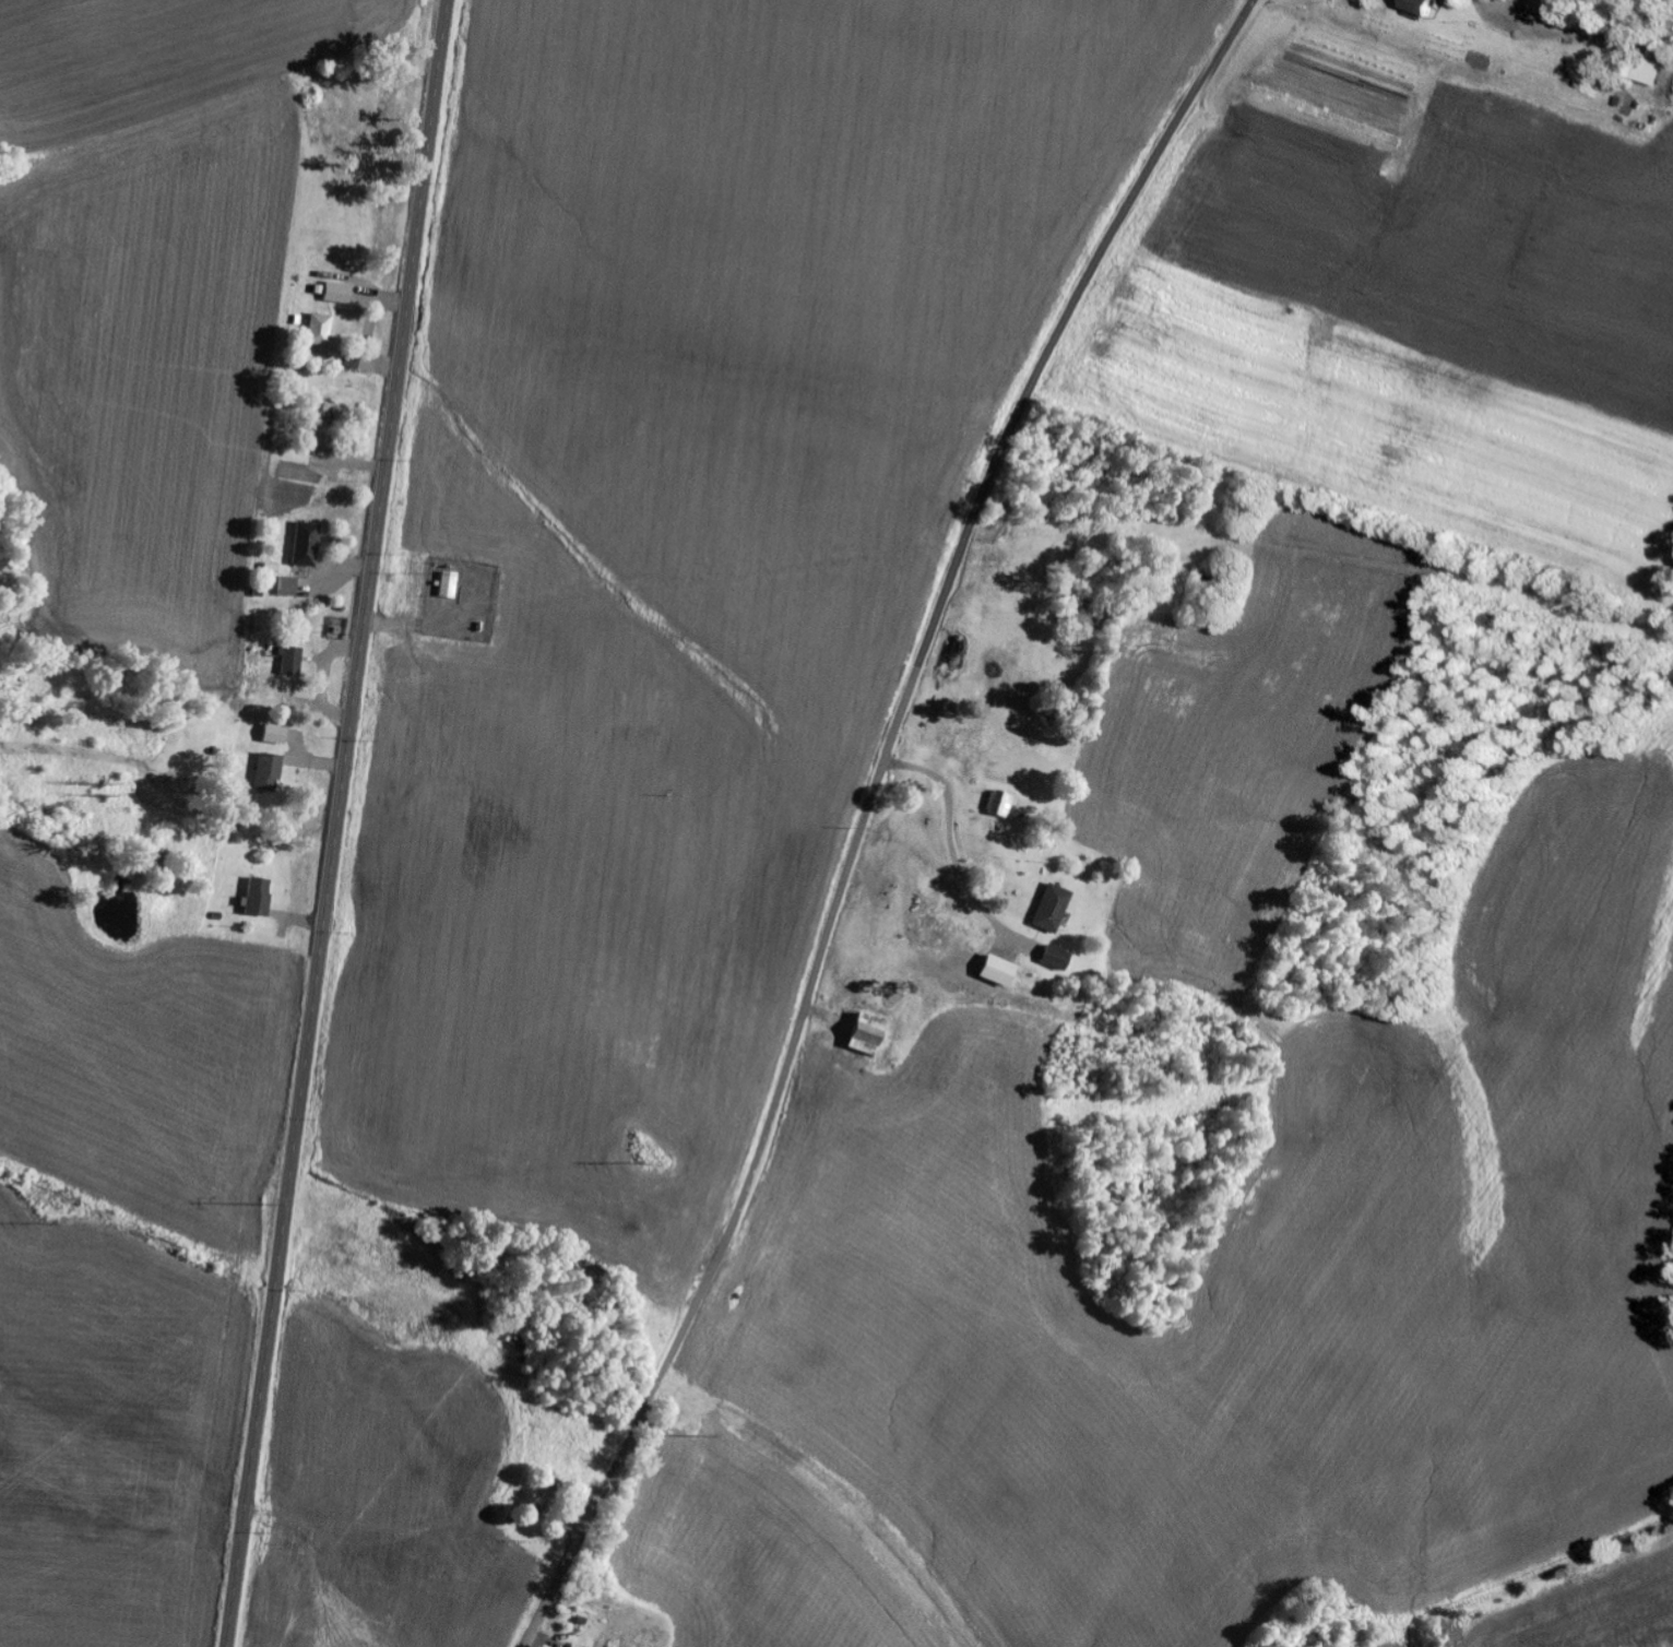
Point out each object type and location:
building: (1549, 8)
building: (1424, 10)
building: (339, 294)
building: (321, 330)
building: (308, 544)
building: (451, 585)
building: (289, 588)
building: (293, 660)
building: (277, 735)
building: (271, 773)
building: (1001, 804)
road: (867, 814)
road: (339, 822)
building: (260, 898)
building: (1054, 909)
building: (1056, 959)
building: (1000, 972)
building: (869, 1035)

